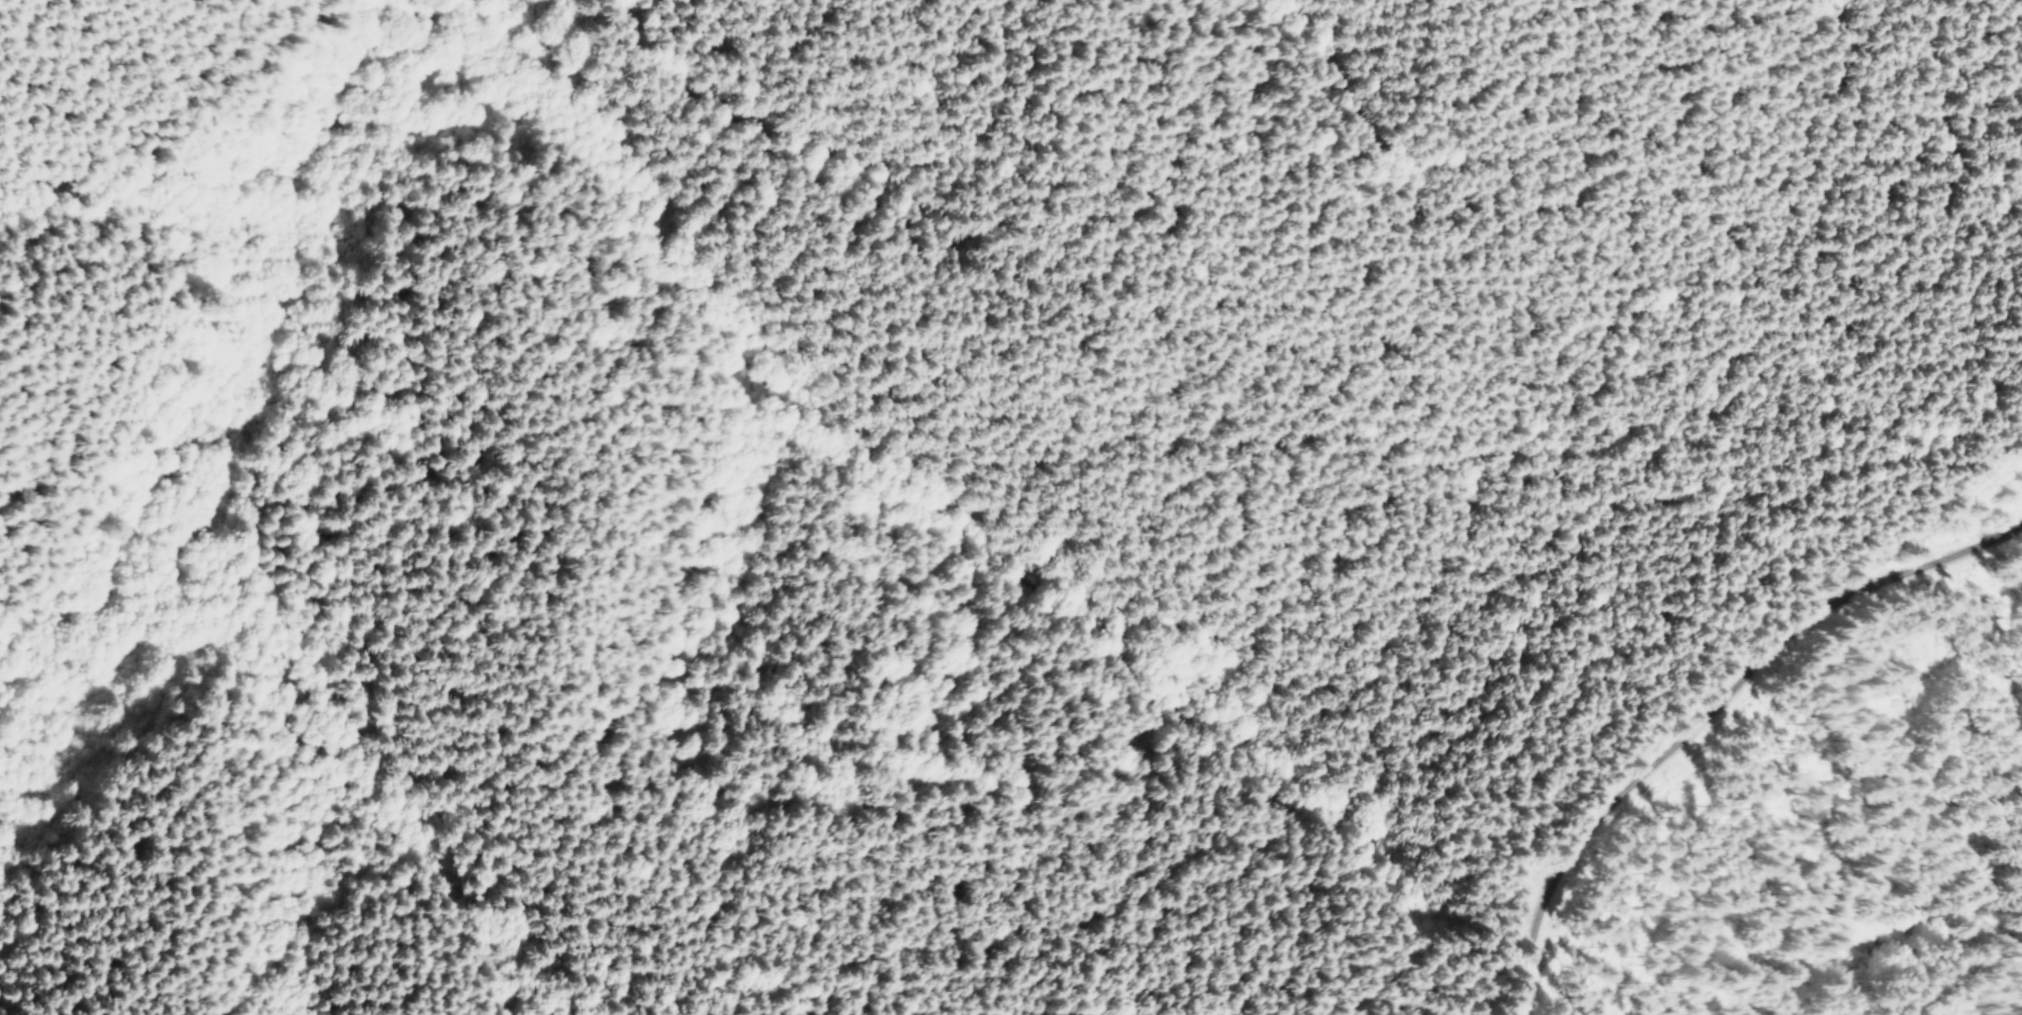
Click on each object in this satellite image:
road: (1740, 713)

